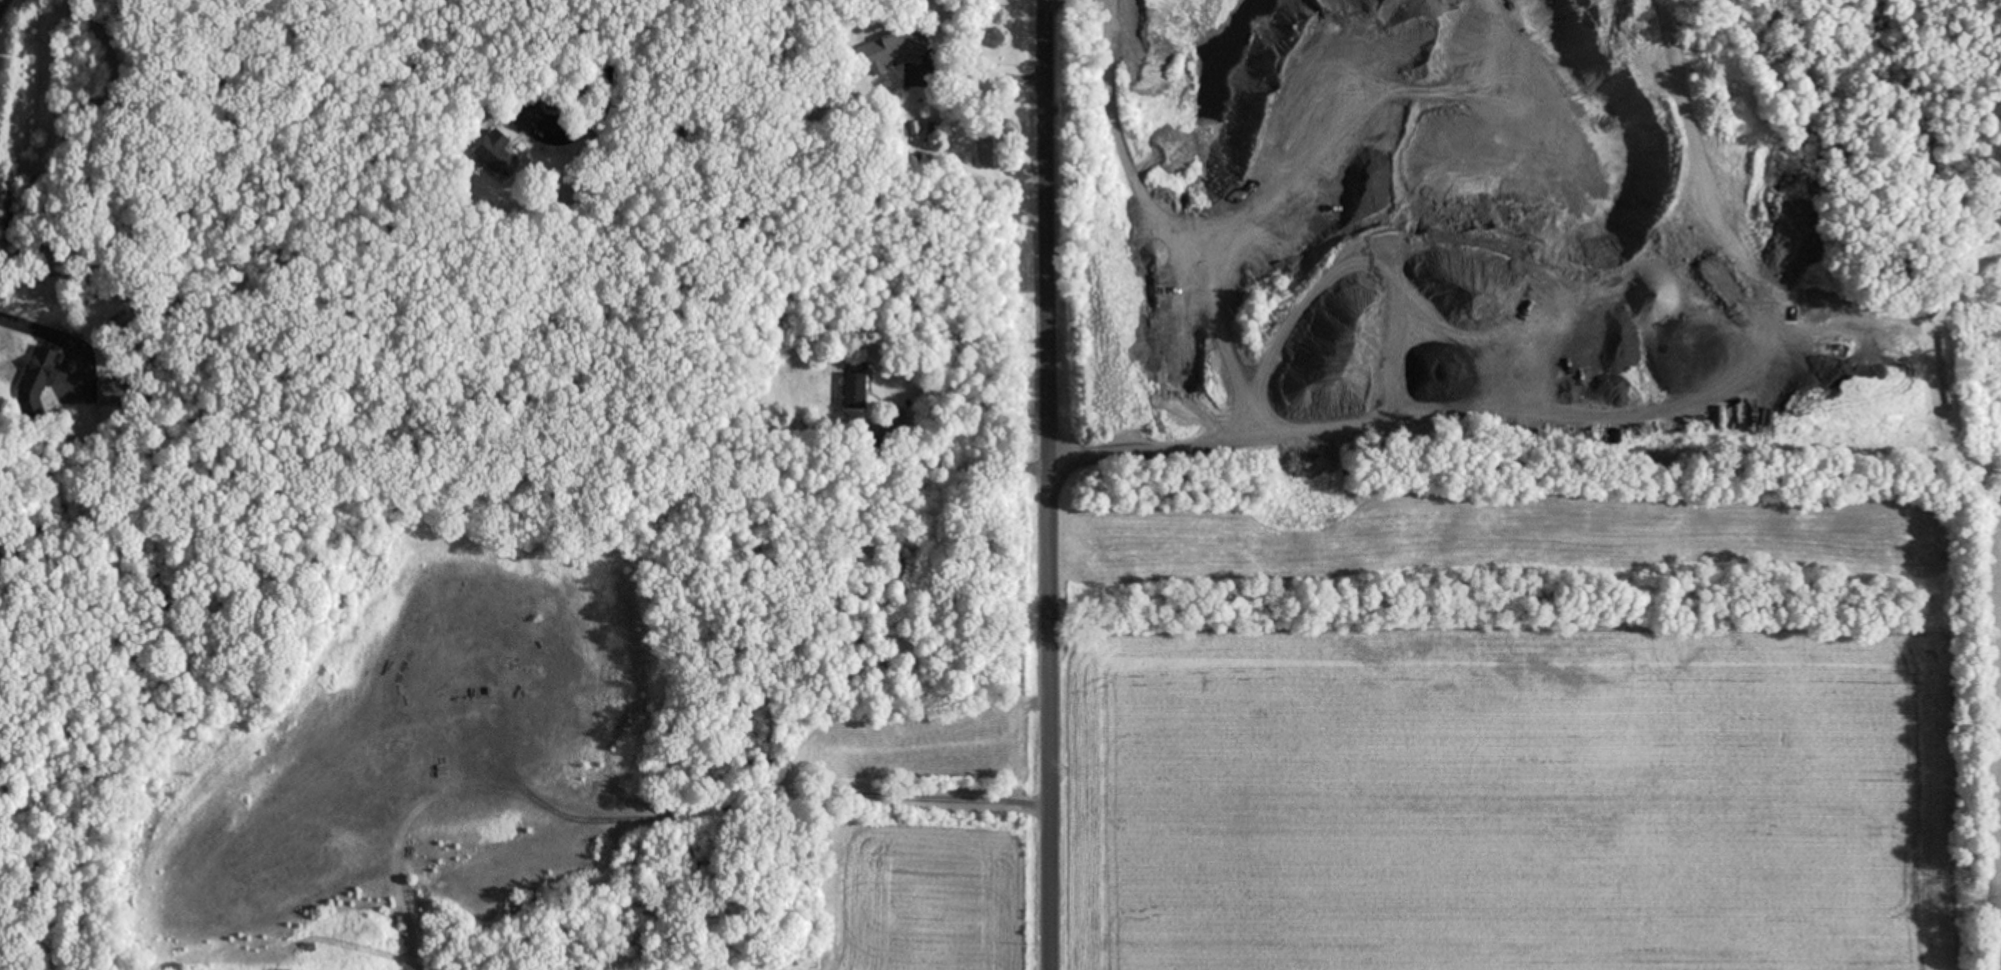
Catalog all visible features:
road: (1, 2)
building: (893, 51)
building: (529, 117)
building: (495, 154)
quarry: (1528, 247)
building: (40, 374)
building: (856, 392)
building: (112, 394)
road: (1049, 484)
crop: (1532, 733)

